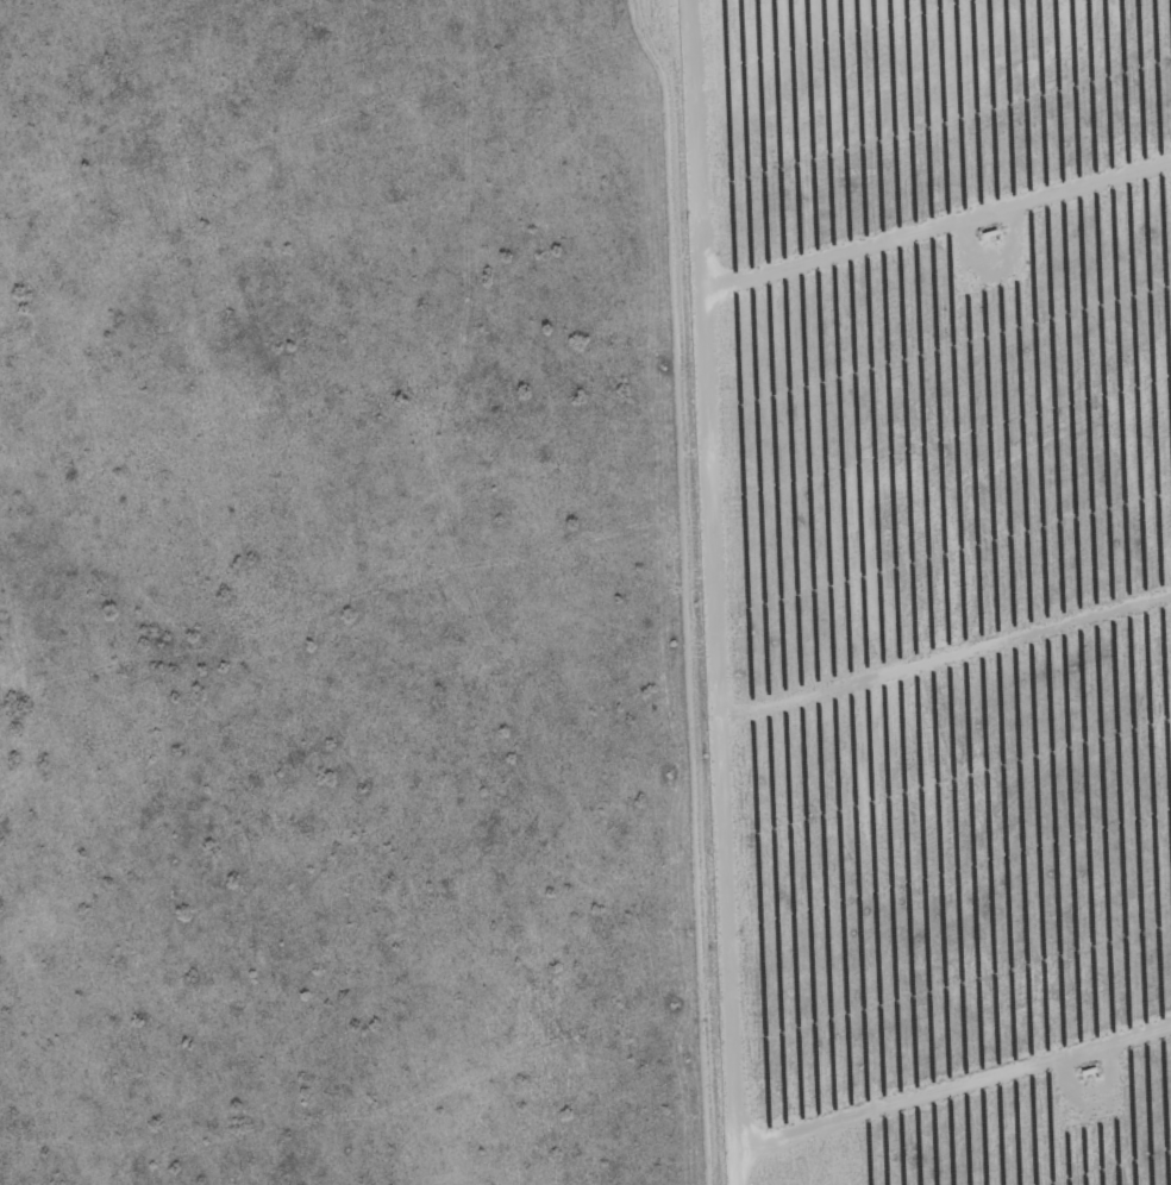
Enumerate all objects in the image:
solar farm: (935, 582)

